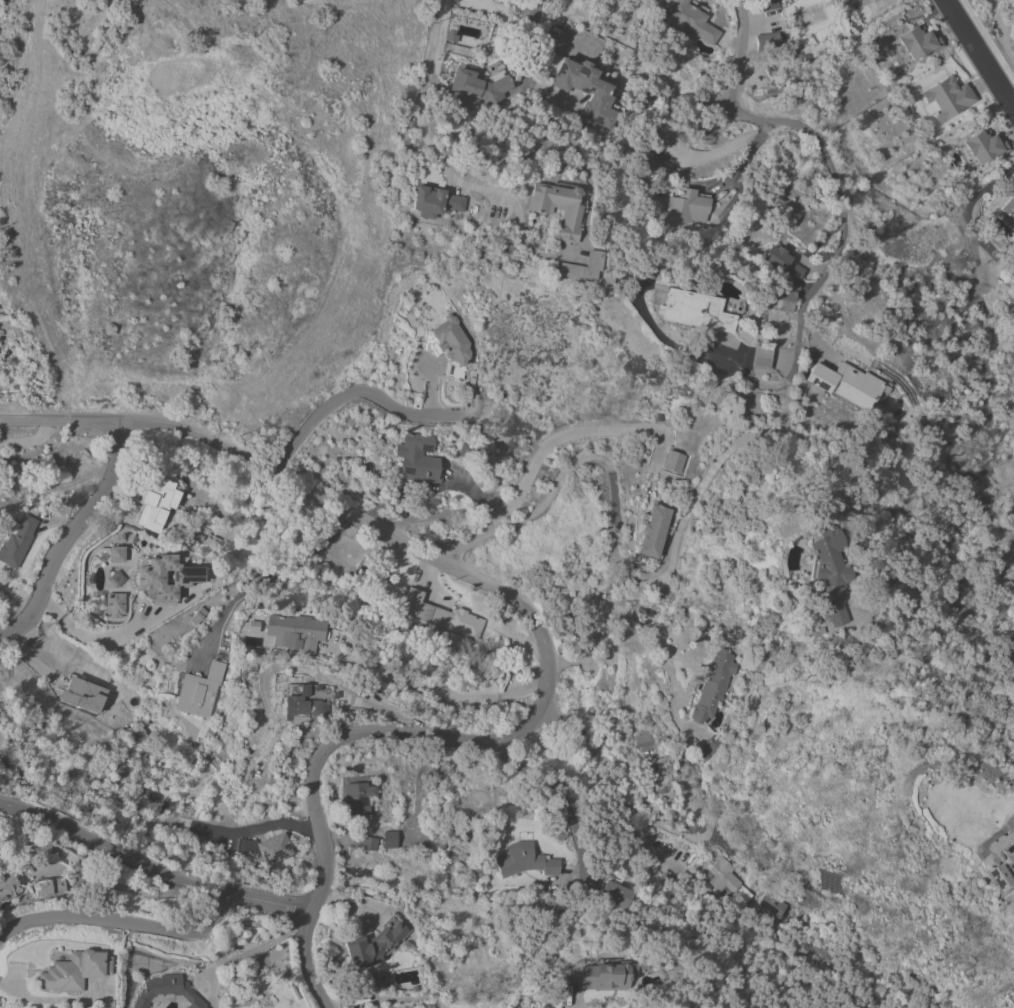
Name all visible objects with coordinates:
building: (865, 1)
building: (766, 4)
building: (688, 19)
building: (767, 41)
building: (918, 42)
road: (528, 43)
road: (979, 52)
building: (781, 63)
building: (479, 85)
building: (589, 90)
building: (946, 98)
building: (984, 146)
road: (438, 156)
road: (746, 156)
road: (826, 159)
building: (434, 201)
building: (686, 206)
building: (557, 207)
building: (1008, 207)
building: (781, 263)
building: (583, 266)
building: (638, 269)
building: (783, 297)
building: (694, 310)
building: (450, 340)
building: (760, 357)
building: (845, 383)
road: (430, 392)
road: (356, 395)
building: (472, 450)
building: (417, 458)
building: (672, 461)
road: (521, 485)
building: (153, 504)
road: (501, 517)
building: (651, 530)
road: (71, 536)
building: (17, 542)
building: (114, 554)
road: (661, 572)
building: (185, 576)
building: (829, 576)
road: (255, 582)
building: (114, 604)
building: (197, 615)
building: (443, 616)
road: (640, 621)
road: (541, 627)
building: (294, 631)
road: (88, 637)
building: (713, 685)
road: (433, 688)
building: (199, 690)
building: (83, 694)
building: (309, 703)
building: (709, 746)
road: (595, 759)
road: (559, 794)
building: (358, 798)
building: (169, 823)
building: (182, 823)
road: (257, 828)
building: (389, 839)
building: (368, 843)
building: (266, 847)
building: (42, 851)
building: (1000, 856)
building: (524, 860)
road: (151, 870)
building: (726, 880)
building: (58, 884)
building: (8, 885)
building: (42, 888)
building: (615, 893)
building: (772, 904)
road: (119, 923)
building: (374, 943)
road: (255, 948)
building: (75, 971)
building: (605, 976)
building: (167, 992)
road: (575, 1001)

